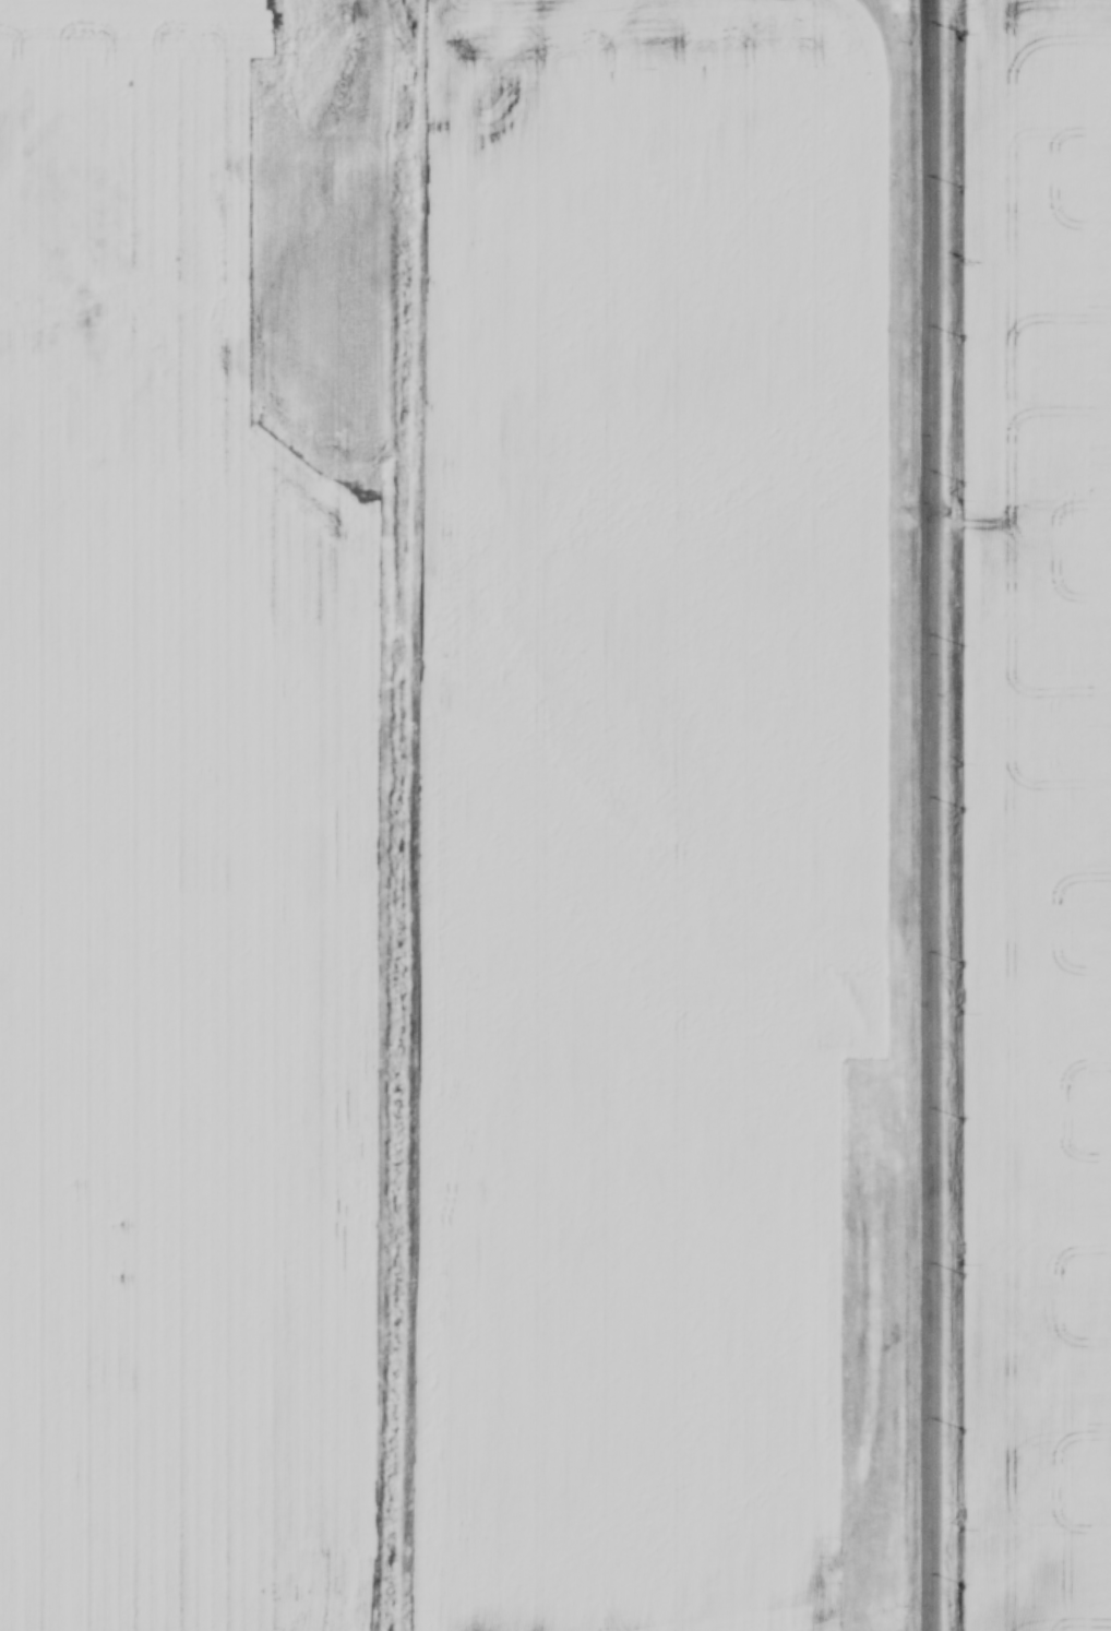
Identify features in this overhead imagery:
road: (933, 815)

